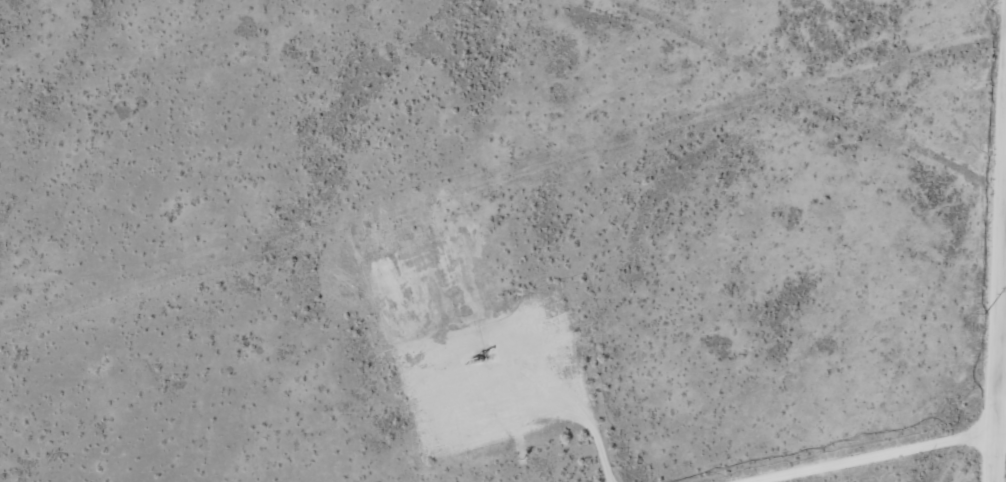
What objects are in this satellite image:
road: (998, 291)
power tower: (985, 313)

